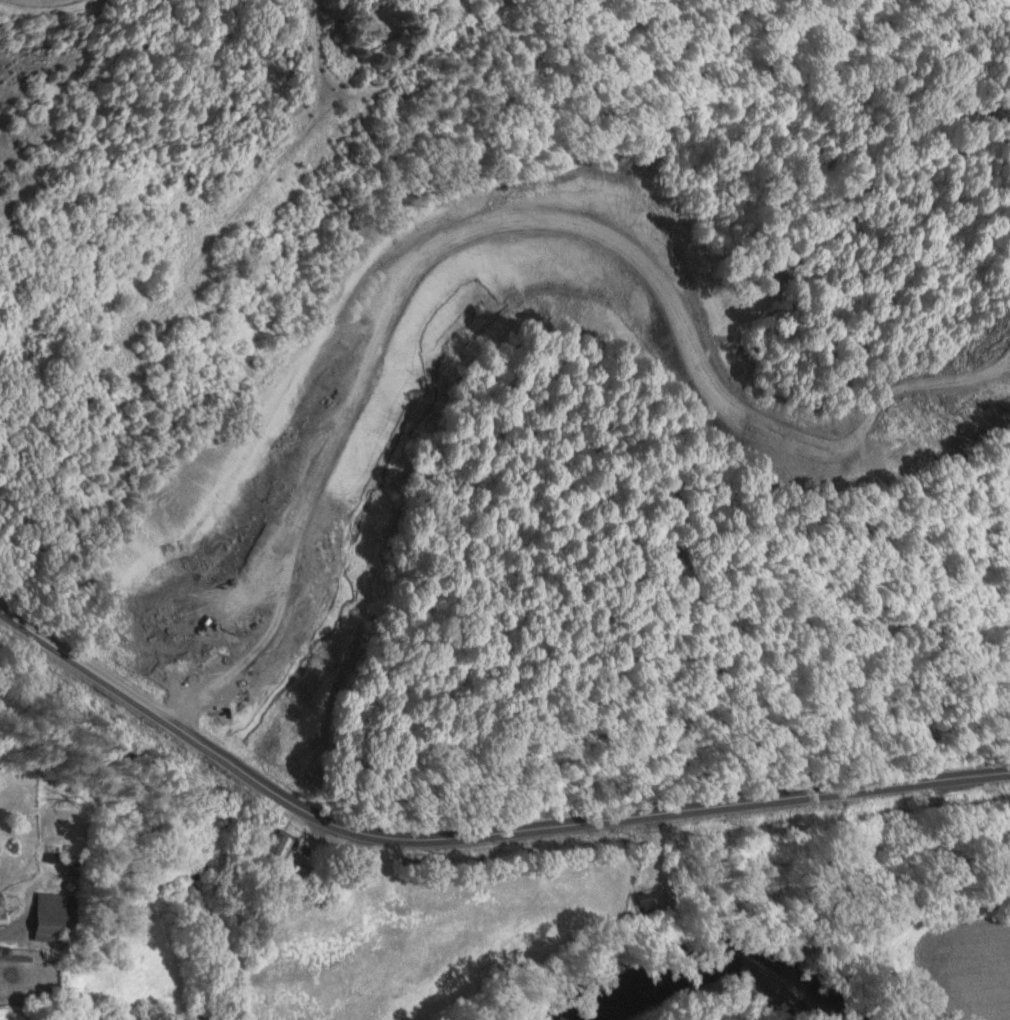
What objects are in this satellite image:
park: (41, 2)
park: (374, 24)
road: (362, 91)
road: (212, 233)
road: (473, 833)
building: (279, 845)
building: (2, 912)
building: (54, 917)
river: (711, 985)

